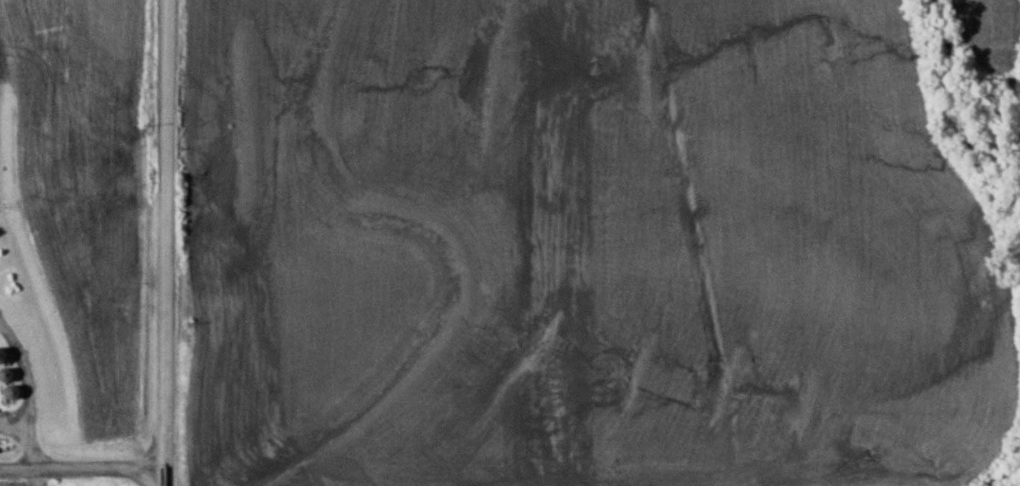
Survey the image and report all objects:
road: (164, 243)
road: (81, 473)

